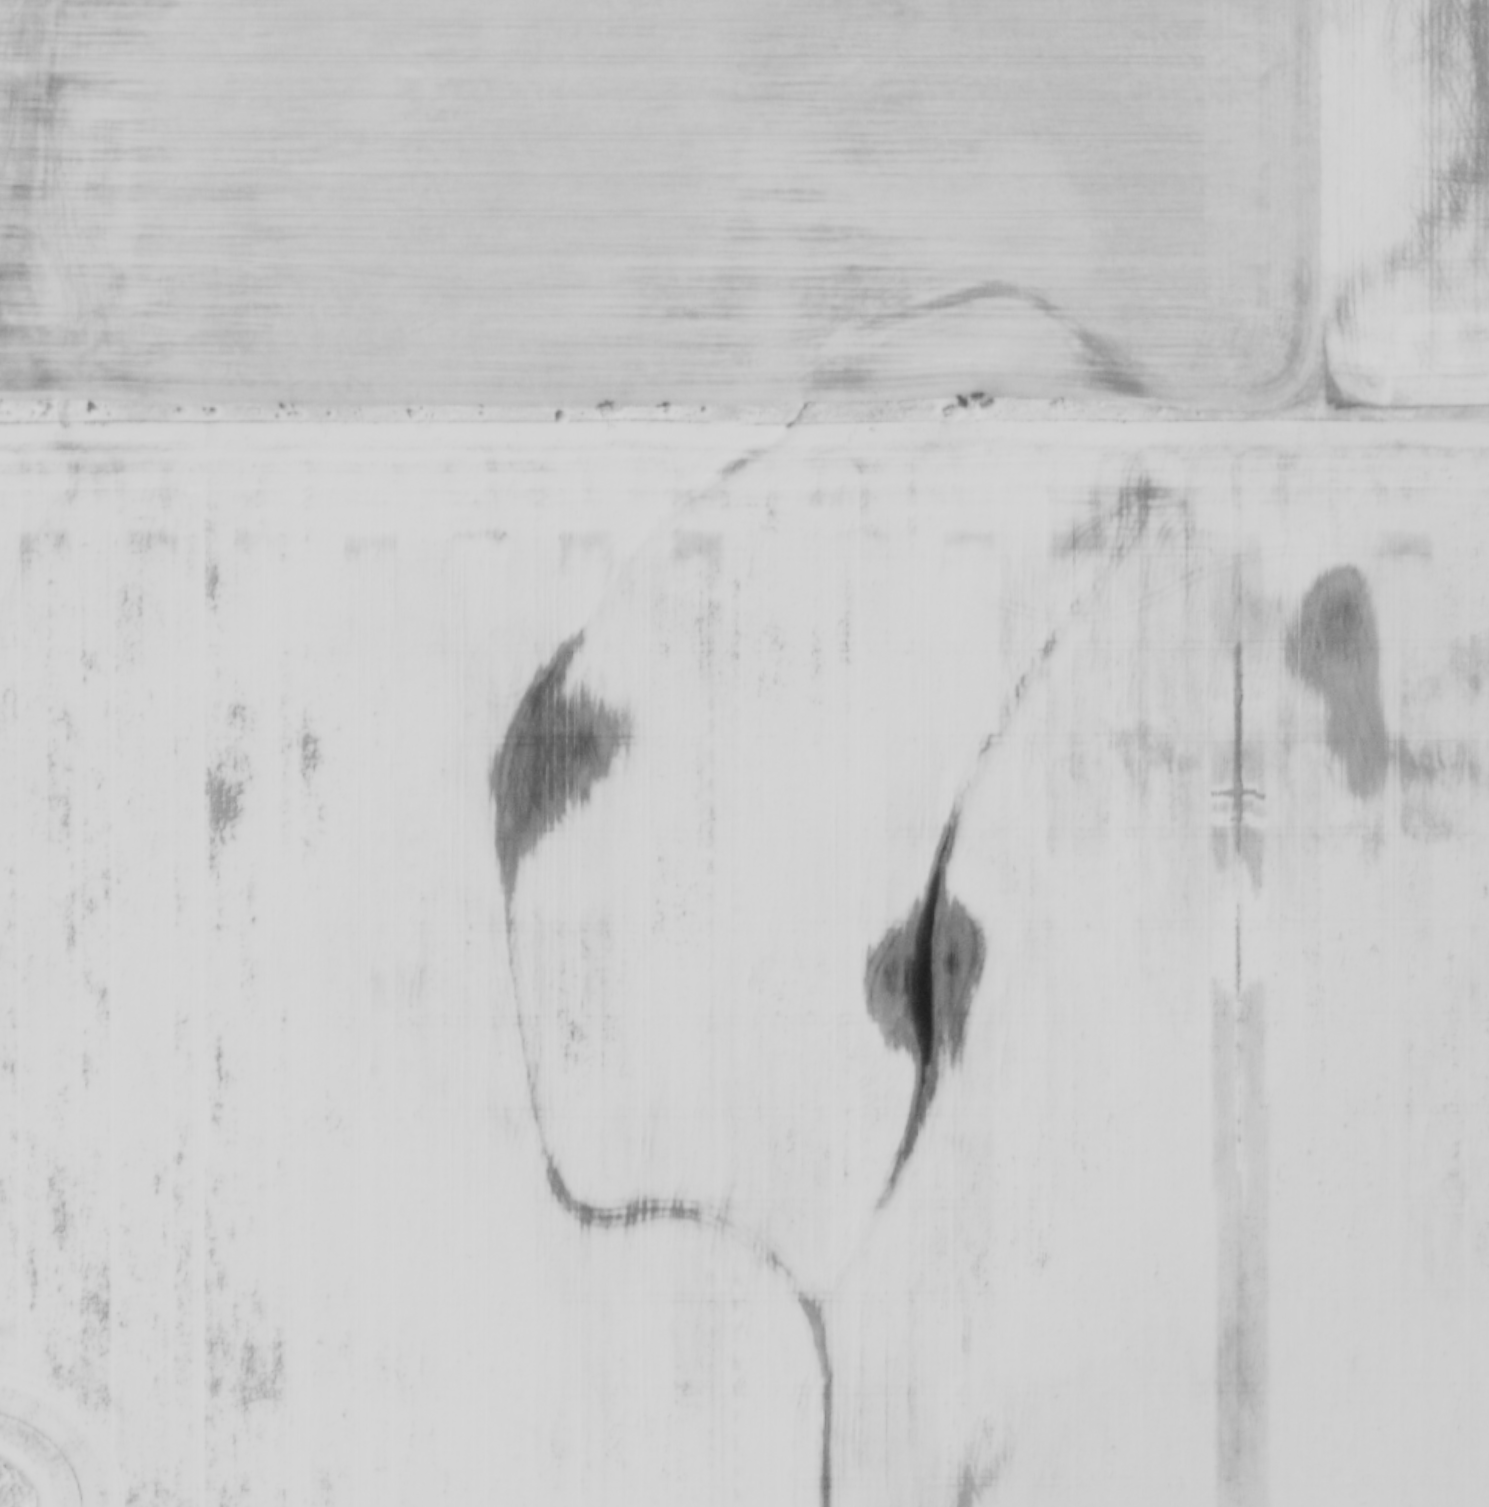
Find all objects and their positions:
crop: (657, 198)
crop: (1404, 199)
road: (27, 1472)

